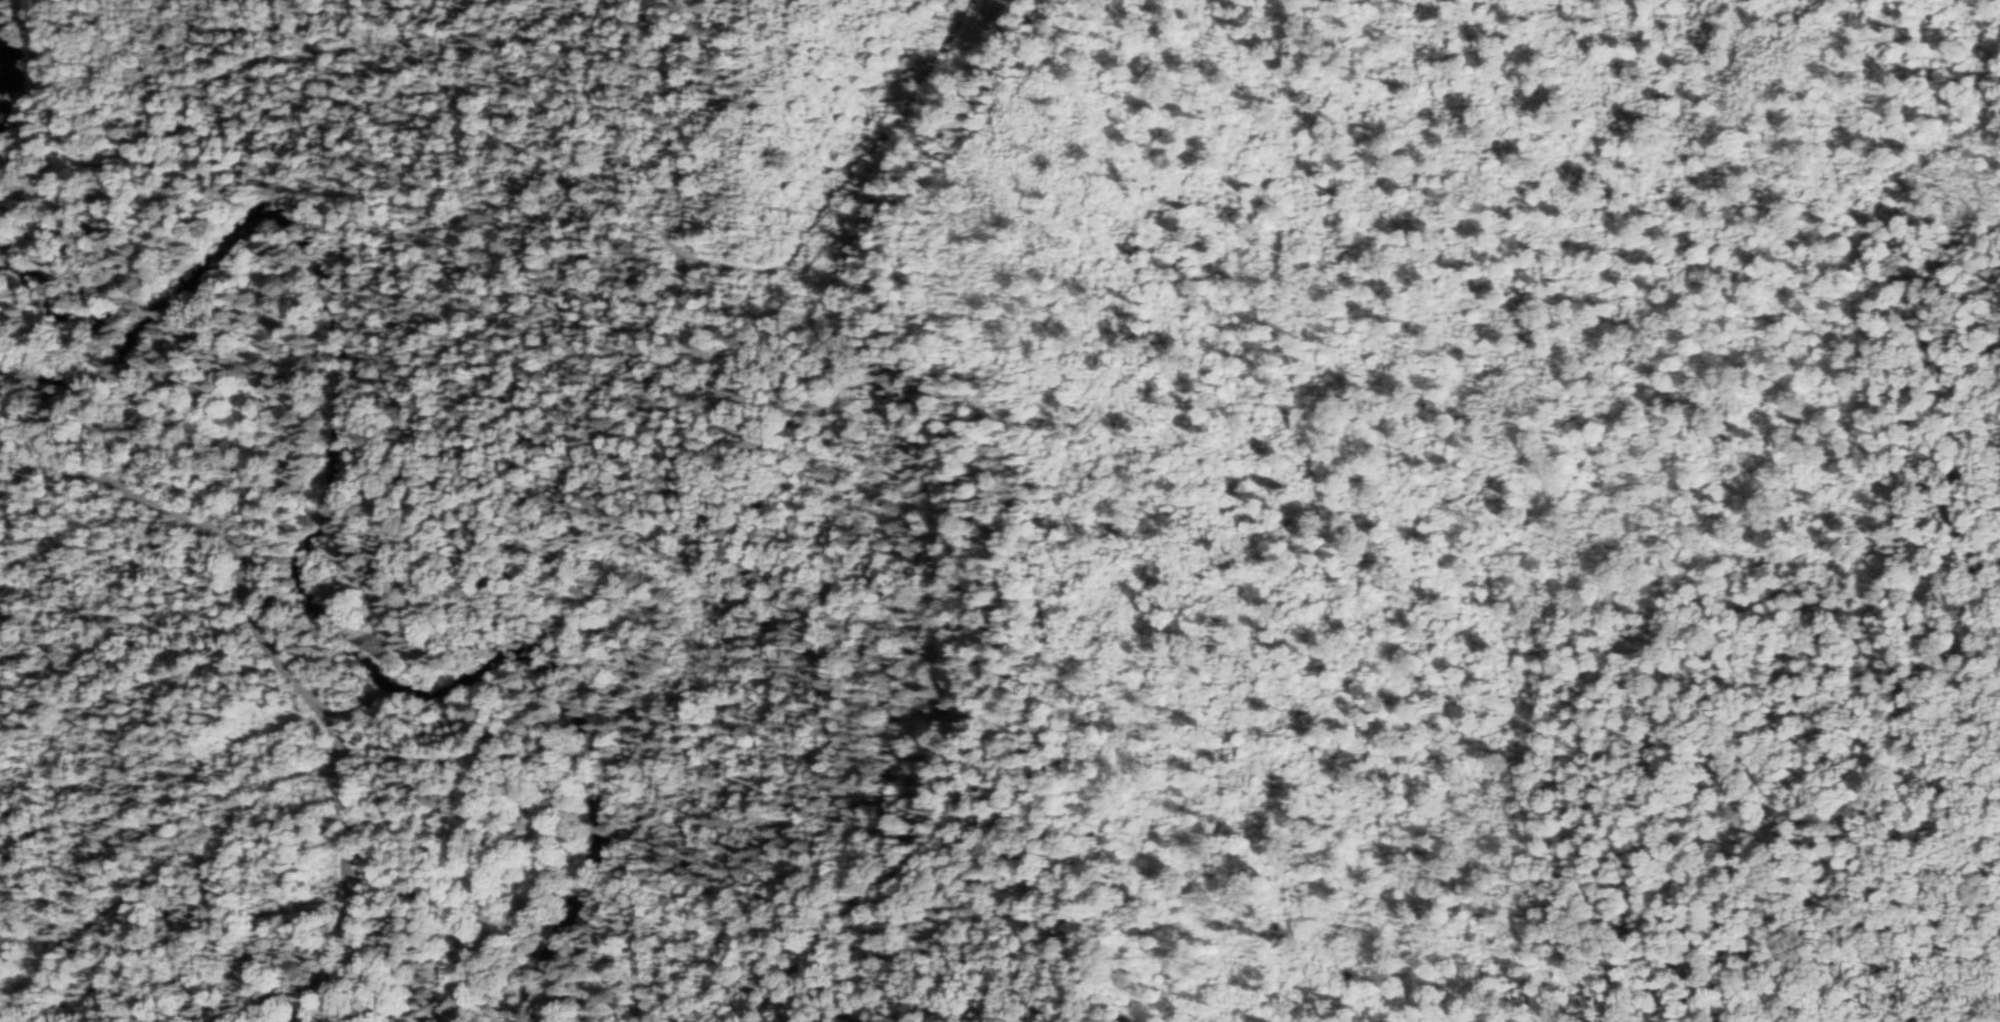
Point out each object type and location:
road: (595, 195)
park: (63, 259)
river: (305, 548)
road: (288, 655)
road: (163, 867)

